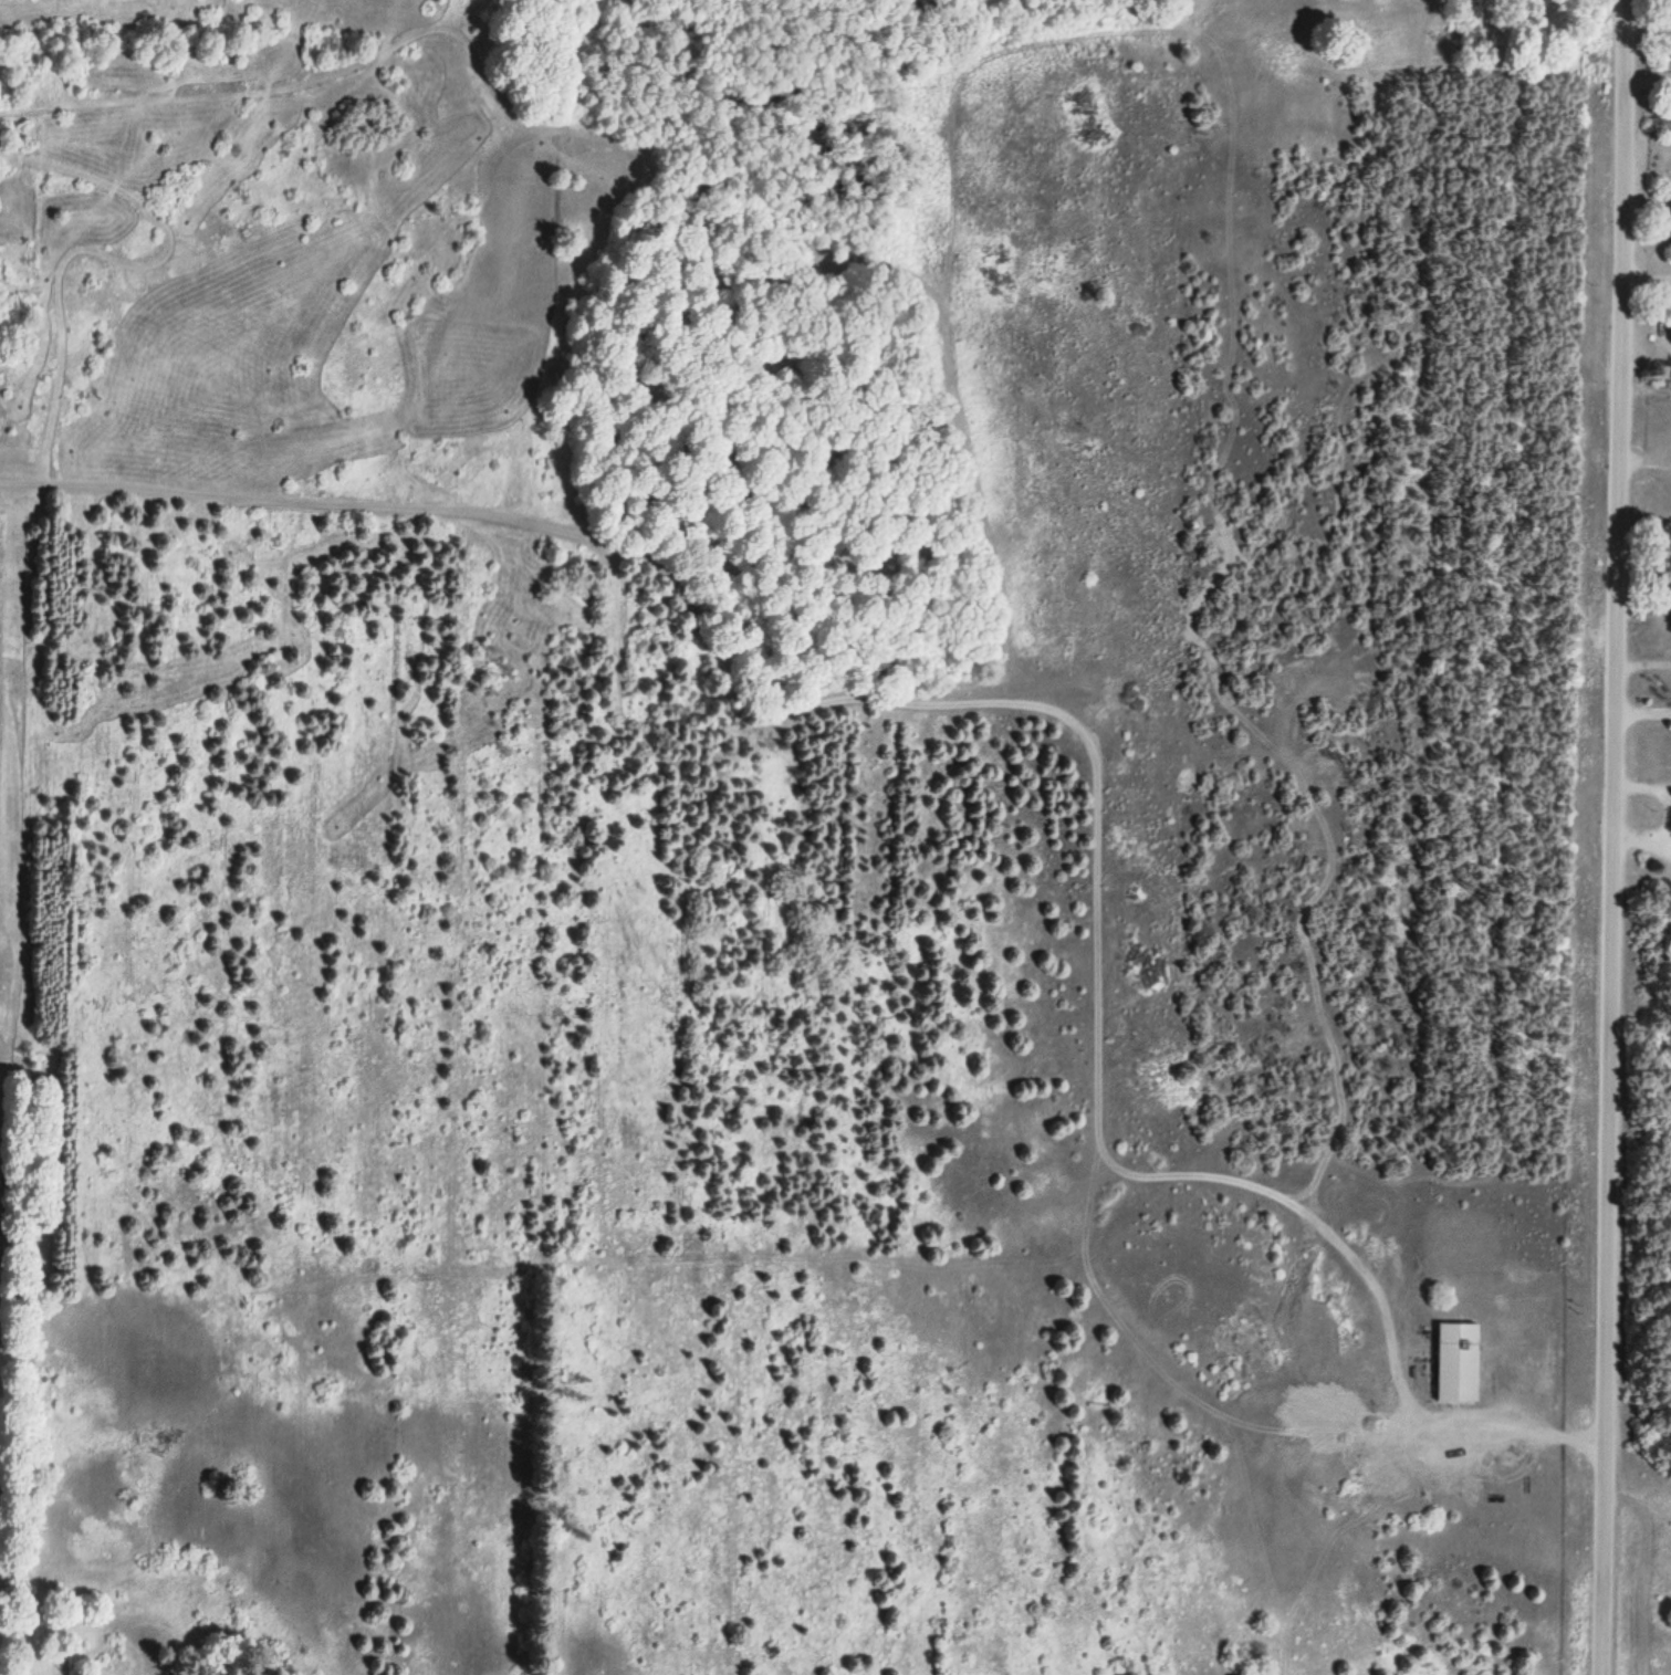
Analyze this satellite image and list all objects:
road: (1646, 149)
road: (1647, 280)
road: (1042, 709)
road: (1642, 714)
road: (1611, 837)
building: (1503, 1336)
building: (1458, 1364)

